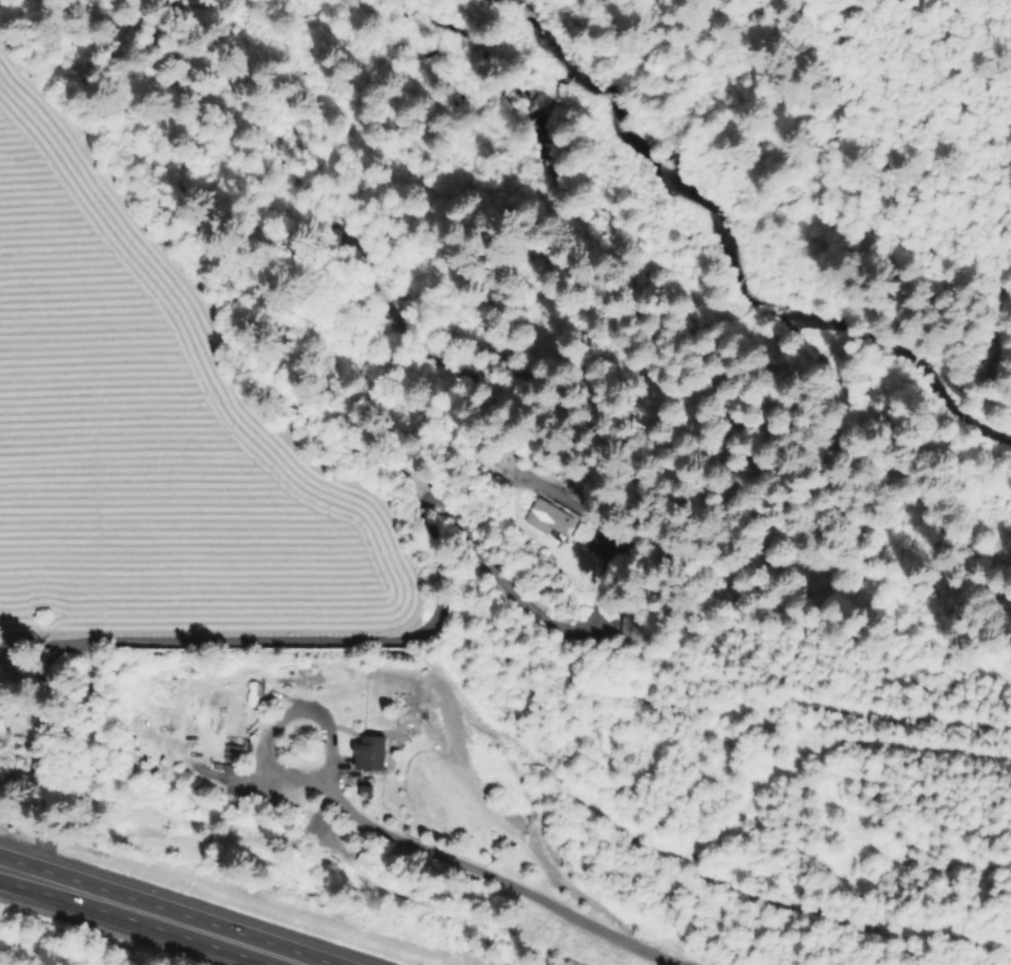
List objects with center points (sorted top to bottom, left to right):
building: (545, 518)
building: (579, 534)
road: (277, 720)
building: (243, 749)
building: (363, 752)
road: (488, 881)
road: (158, 913)

